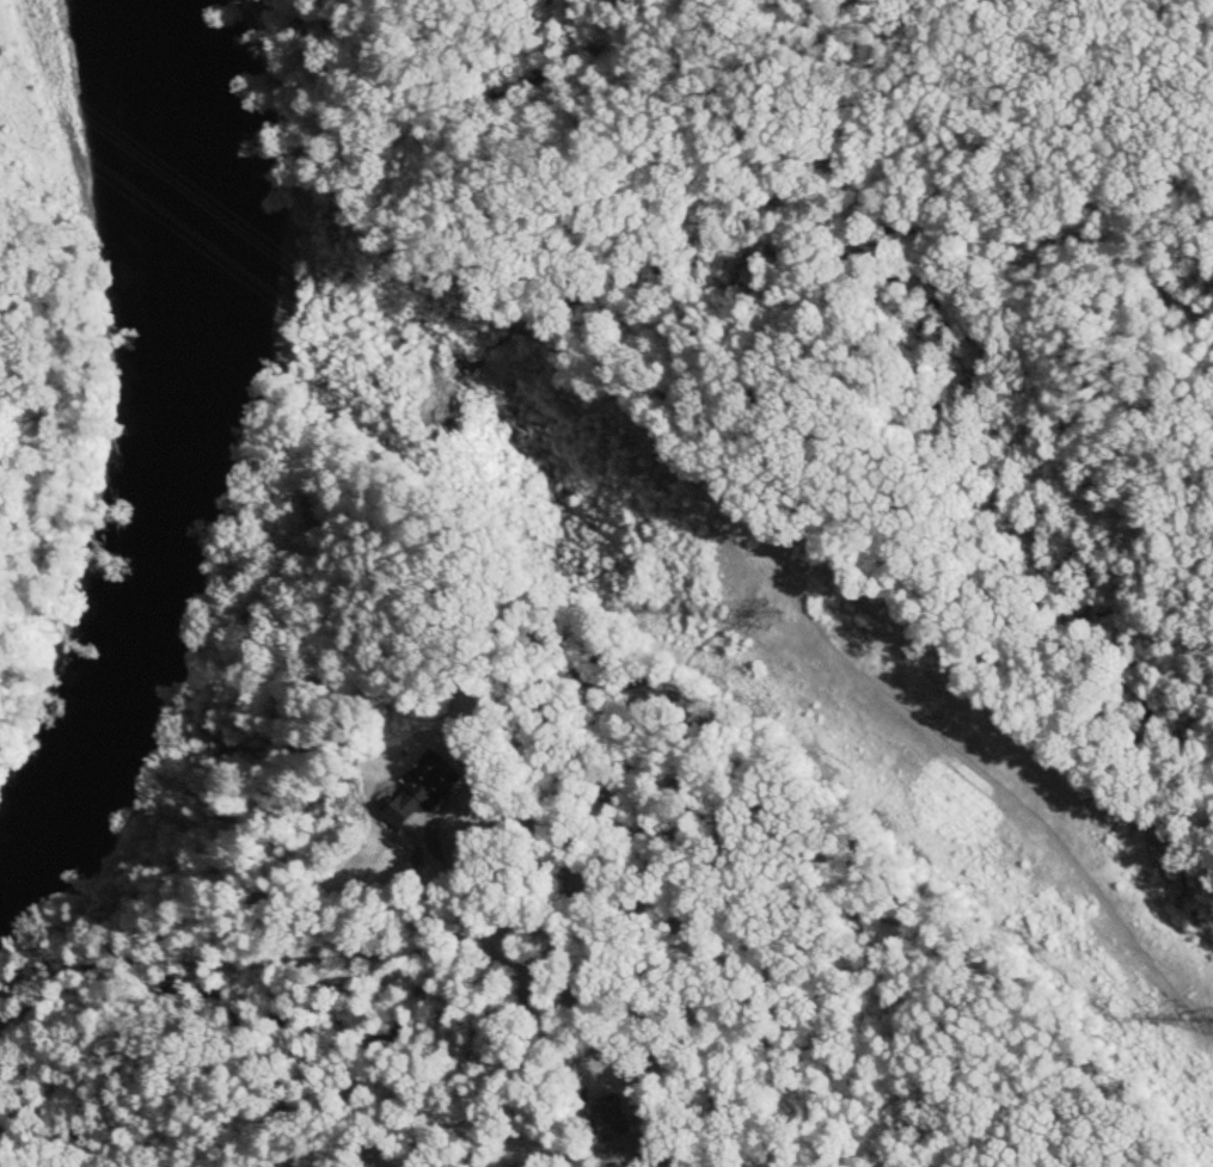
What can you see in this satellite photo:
road: (1033, 116)
river: (164, 456)
power tower: (762, 609)
building: (419, 793)
road: (549, 984)
road: (528, 1145)

